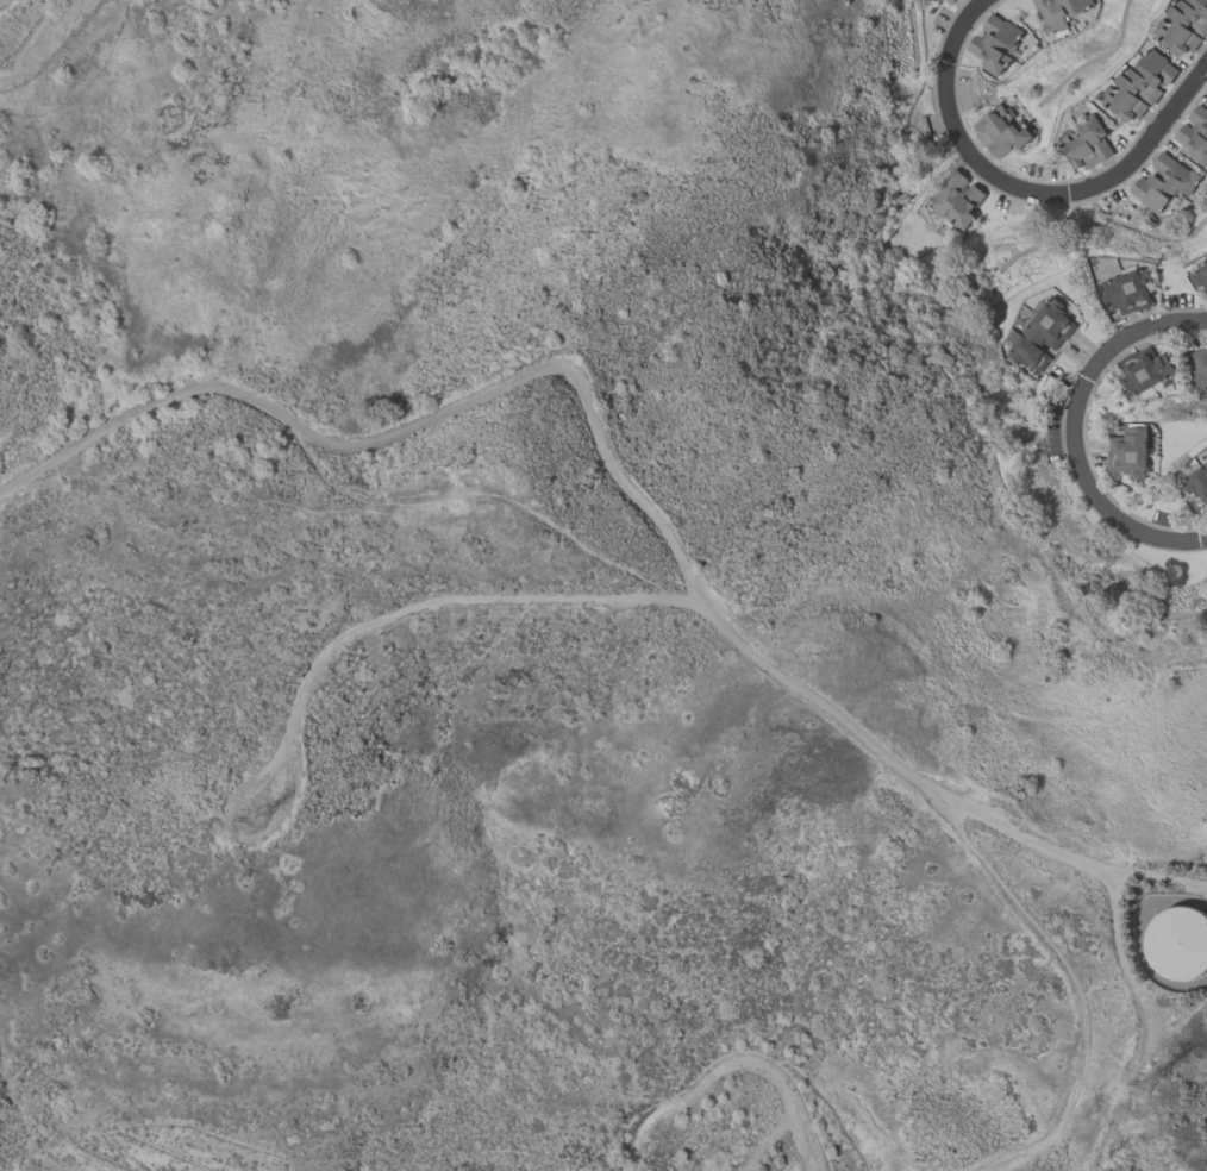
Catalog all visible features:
building: (946, 1)
building: (1056, 12)
building: (1183, 25)
building: (994, 43)
building: (1138, 84)
building: (1000, 130)
building: (1195, 134)
building: (1084, 143)
building: (1162, 182)
road: (1020, 192)
building: (952, 199)
building: (1200, 274)
building: (1128, 290)
building: (1040, 334)
building: (1199, 367)
building: (1143, 369)
road: (1075, 432)
building: (1127, 452)
road: (614, 477)
building: (1196, 482)
road: (355, 628)
power tower: (255, 812)
road: (1138, 940)
building: (1181, 944)
water tower: (1182, 946)
road: (1076, 989)
road: (731, 1063)
power tower: (1114, 1071)

